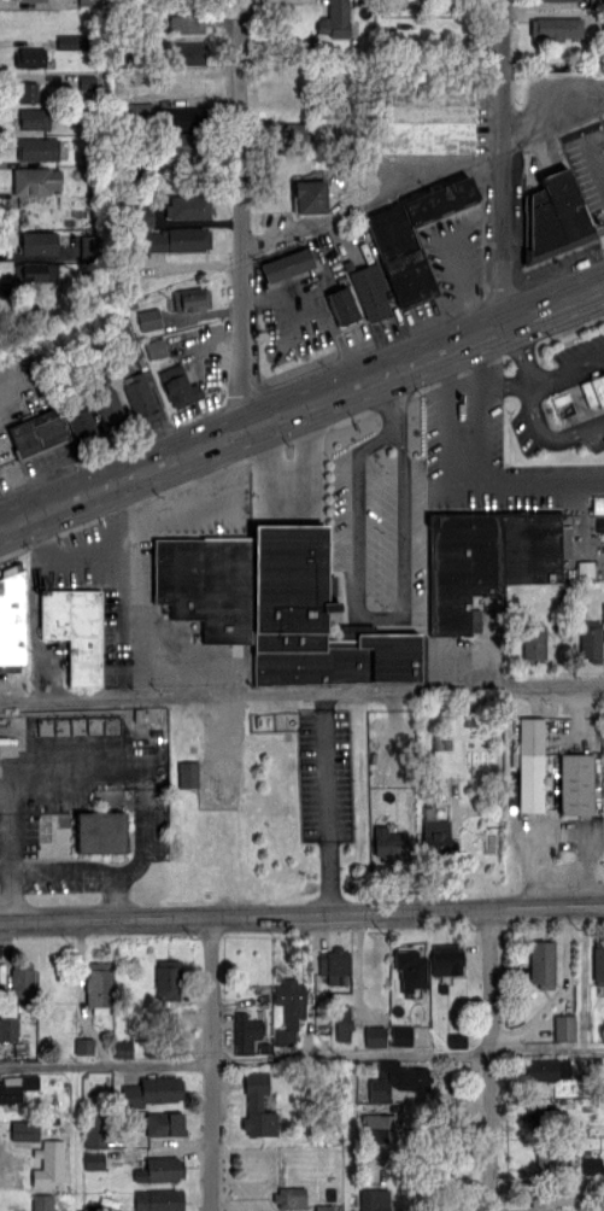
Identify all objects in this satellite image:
building: (30, 0)
building: (555, 0)
building: (87, 1)
building: (597, 2)
building: (335, 19)
building: (187, 23)
building: (556, 25)
building: (70, 41)
building: (189, 52)
building: (30, 57)
building: (27, 90)
building: (140, 100)
building: (34, 117)
building: (183, 117)
building: (424, 121)
road: (553, 127)
building: (289, 134)
building: (187, 145)
building: (39, 148)
road: (594, 153)
road: (503, 163)
parking lot: (590, 174)
building: (36, 180)
building: (310, 195)
road: (371, 198)
parking lot: (516, 199)
building: (187, 206)
building: (137, 215)
road: (240, 215)
building: (555, 218)
road: (353, 232)
building: (178, 238)
building: (39, 242)
building: (395, 242)
parking lot: (357, 244)
building: (89, 246)
building: (286, 264)
building: (39, 271)
parking lot: (440, 274)
building: (370, 289)
building: (192, 298)
building: (344, 305)
parking lot: (309, 308)
building: (149, 318)
road: (330, 332)
building: (119, 334)
building: (154, 347)
road: (211, 350)
parking lot: (201, 364)
road: (565, 368)
building: (178, 385)
road: (504, 385)
road: (389, 391)
building: (593, 391)
building: (140, 396)
parking lot: (558, 400)
building: (109, 404)
road: (301, 405)
road: (534, 408)
parking lot: (17, 416)
building: (81, 420)
building: (40, 431)
road: (401, 431)
road: (382, 435)
parking lot: (493, 457)
road: (469, 478)
road: (534, 482)
parking lot: (291, 484)
building: (598, 504)
road: (197, 508)
road: (295, 508)
parking lot: (382, 538)
road: (61, 560)
building: (486, 560)
parking lot: (152, 583)
building: (206, 584)
road: (128, 590)
building: (603, 613)
building: (13, 616)
building: (315, 618)
road: (379, 618)
building: (75, 628)
building: (591, 642)
building: (534, 643)
road: (301, 694)
building: (603, 714)
building: (530, 764)
road: (77, 773)
building: (188, 773)
parking lot: (324, 774)
building: (576, 783)
road: (326, 802)
parking lot: (80, 811)
building: (99, 831)
road: (559, 832)
building: (436, 833)
building: (388, 844)
parking lot: (557, 847)
road: (70, 874)
road: (301, 912)
building: (447, 958)
building: (598, 961)
building: (541, 963)
building: (334, 964)
building: (411, 969)
building: (168, 978)
building: (22, 984)
building: (98, 987)
building: (289, 1006)
building: (342, 1022)
building: (564, 1026)
building: (8, 1028)
building: (246, 1031)
building: (375, 1035)
building: (400, 1035)
building: (457, 1039)
building: (84, 1045)
building: (166, 1047)
building: (123, 1048)
road: (353, 1057)
road: (491, 1058)
road: (107, 1063)
road: (215, 1063)
building: (549, 1069)
building: (397, 1077)
building: (16, 1087)
building: (153, 1090)
building: (257, 1106)
building: (544, 1115)
building: (165, 1123)
building: (385, 1127)
building: (95, 1130)
building: (40, 1152)
building: (551, 1159)
building: (93, 1160)
building: (591, 1165)
building: (160, 1169)
building: (551, 1192)
building: (291, 1197)
building: (159, 1199)
building: (370, 1199)
building: (42, 1203)
building: (323, 1207)

